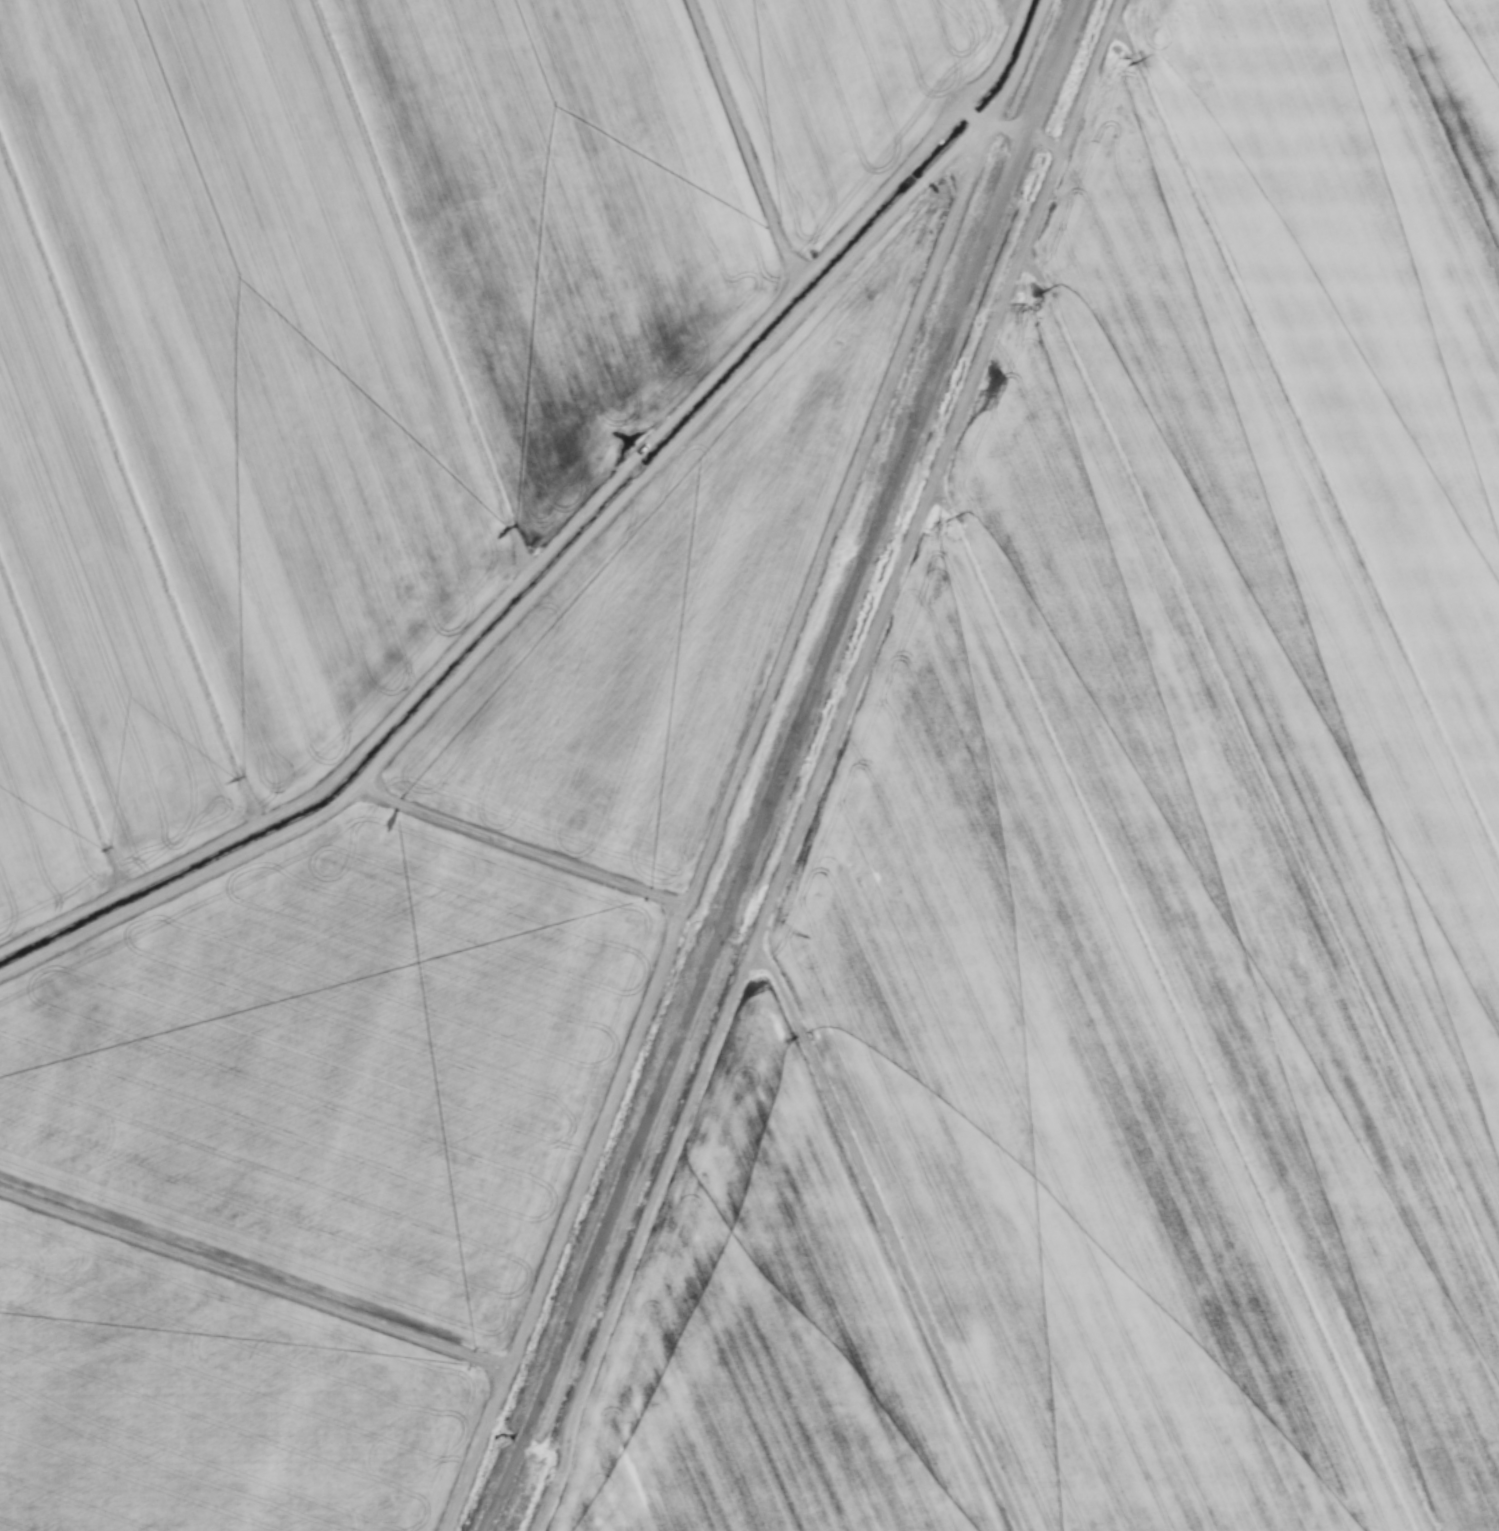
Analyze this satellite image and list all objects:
road: (761, 765)

